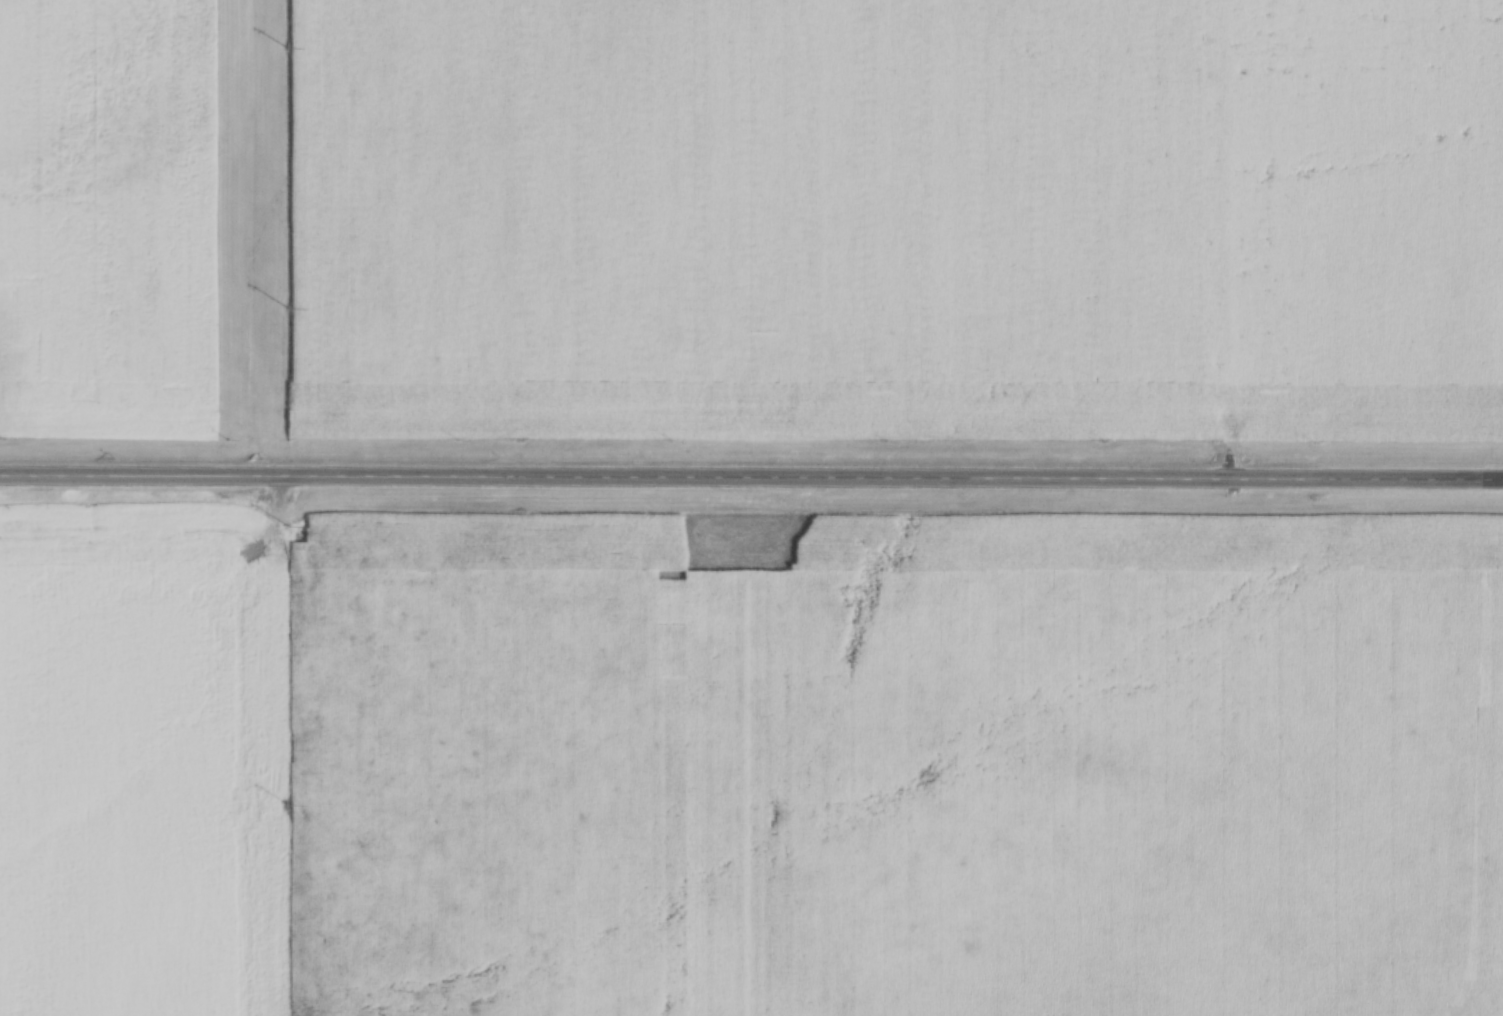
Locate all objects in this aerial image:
road: (751, 473)

